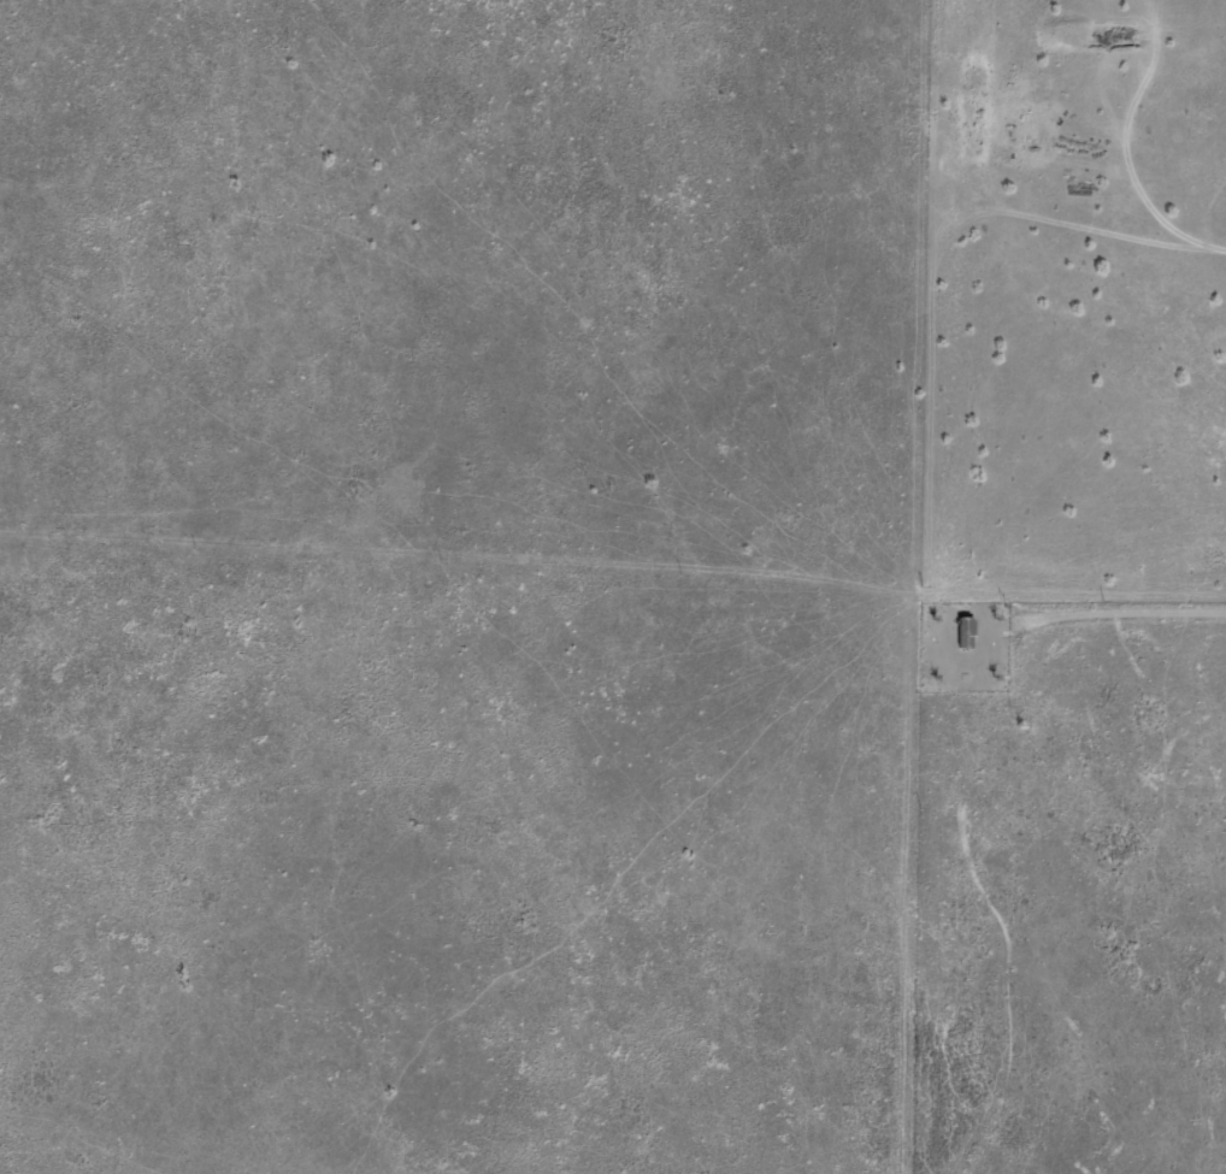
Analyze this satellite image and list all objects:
road: (1180, 614)
building: (963, 633)

